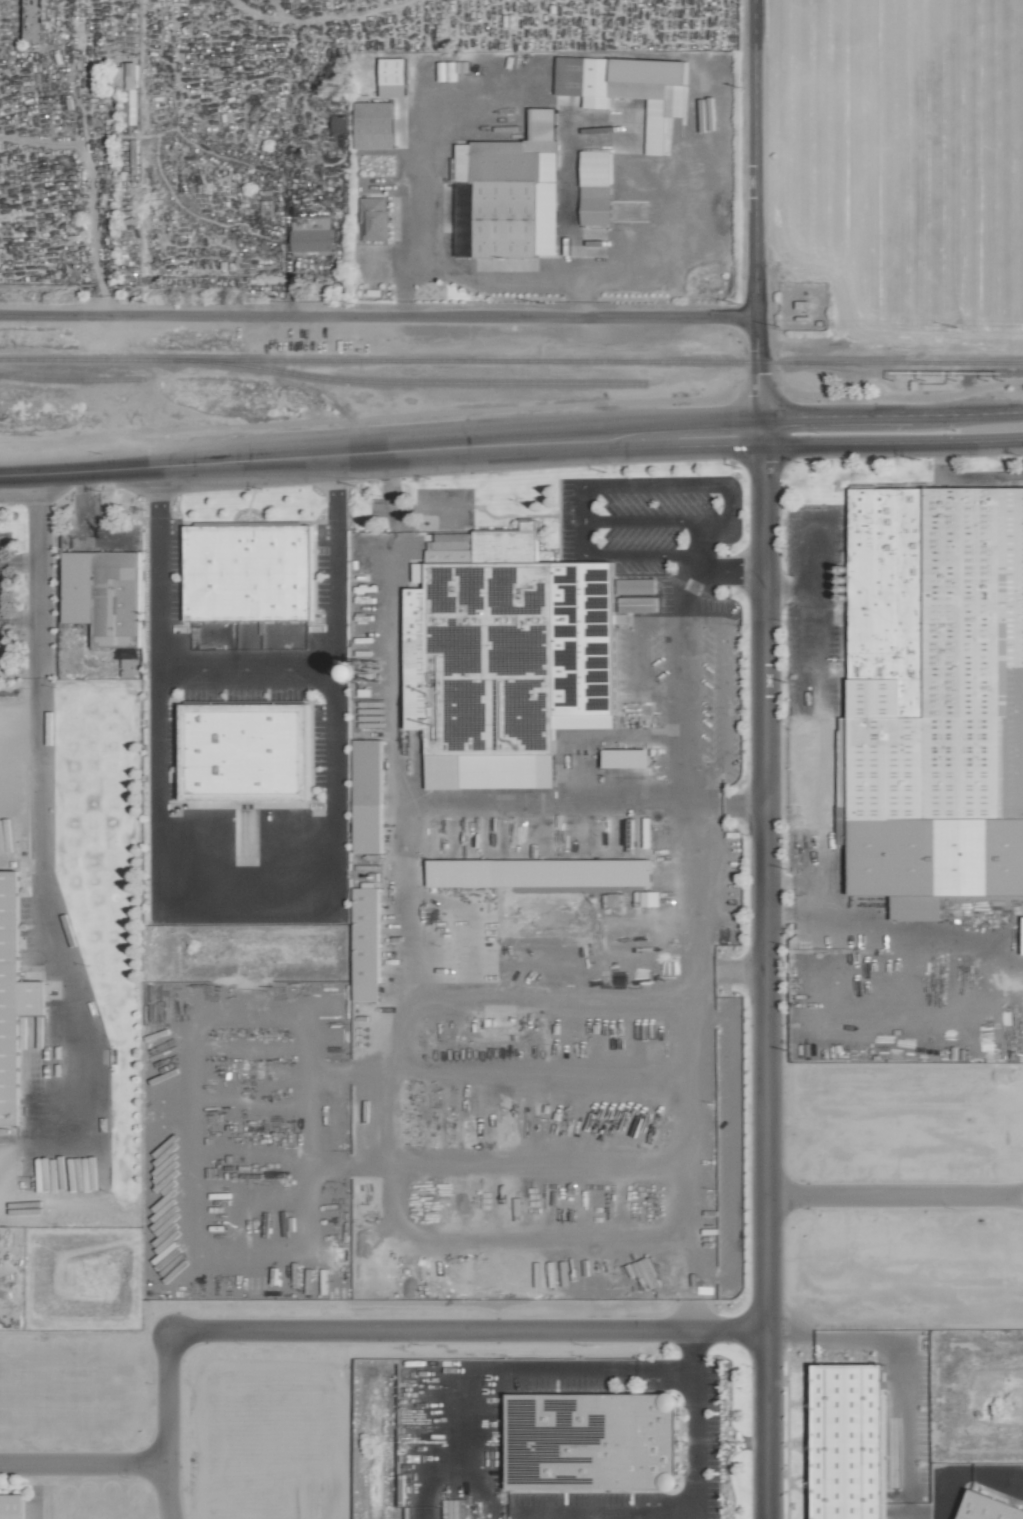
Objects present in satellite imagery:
building: (34, 20)
building: (129, 75)
building: (392, 77)
building: (628, 88)
building: (338, 123)
building: (373, 125)
building: (596, 187)
building: (508, 194)
crop: (908, 214)
building: (372, 219)
road: (753, 223)
building: (310, 233)
road: (488, 282)
road: (377, 316)
railway: (511, 362)
railway: (906, 372)
railway: (70, 380)
railway: (408, 384)
road: (807, 416)
road: (678, 441)
road: (893, 442)
road: (296, 458)
road: (649, 485)
building: (937, 491)
road: (652, 518)
road: (704, 536)
road: (619, 554)
building: (248, 571)
building: (638, 585)
building: (103, 594)
building: (638, 604)
road: (394, 628)
road: (686, 649)
road: (245, 660)
building: (127, 667)
building: (367, 667)
building: (581, 668)
water tower: (367, 670)
building: (247, 750)
building: (626, 757)
building: (367, 796)
road: (724, 802)
road: (442, 803)
road: (35, 814)
building: (646, 826)
building: (538, 872)
road: (687, 886)
building: (649, 898)
road: (253, 902)
building: (1022, 939)
building: (366, 942)
road: (727, 969)
road: (691, 979)
road: (764, 982)
building: (12, 998)
road: (396, 998)
road: (894, 1197)
building: (679, 1268)
road: (692, 1281)
road: (465, 1328)
road: (164, 1426)
building: (851, 1441)
building: (593, 1442)
road: (82, 1466)
road: (433, 1478)
road: (489, 1498)
road: (420, 1504)
building: (11, 1506)
building: (989, 1508)
road: (611, 1515)

